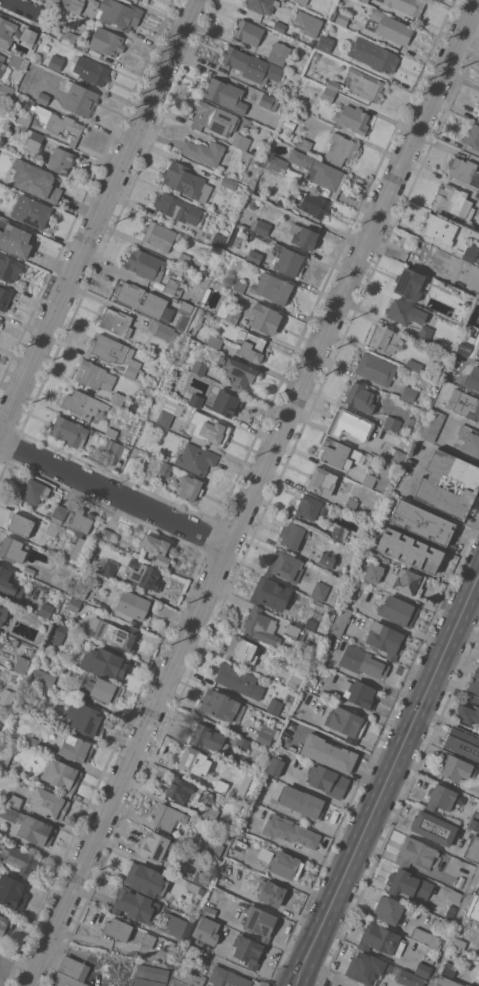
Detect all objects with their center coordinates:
building: (57, 0)
building: (144, 1)
building: (364, 1)
building: (302, 2)
building: (73, 5)
building: (95, 5)
building: (262, 5)
building: (407, 5)
building: (290, 6)
road: (28, 8)
building: (119, 14)
building: (343, 18)
building: (280, 26)
building: (389, 28)
building: (7, 30)
building: (254, 31)
building: (60, 35)
building: (29, 36)
building: (70, 37)
building: (106, 41)
building: (325, 43)
building: (279, 53)
building: (374, 55)
building: (2, 61)
building: (56, 62)
building: (251, 65)
building: (91, 70)
building: (365, 84)
building: (332, 85)
building: (6, 91)
building: (226, 94)
building: (328, 95)
building: (43, 98)
building: (79, 98)
building: (269, 102)
building: (478, 105)
building: (215, 119)
building: (352, 119)
building: (24, 121)
building: (57, 122)
building: (68, 136)
building: (472, 136)
building: (36, 140)
building: (240, 141)
building: (304, 144)
building: (341, 149)
building: (204, 151)
building: (61, 160)
building: (257, 160)
building: (276, 164)
building: (465, 171)
building: (319, 173)
building: (292, 174)
building: (35, 180)
building: (186, 181)
building: (228, 183)
building: (453, 201)
building: (312, 203)
building: (281, 204)
building: (179, 209)
building: (31, 211)
building: (478, 211)
road: (98, 217)
building: (260, 226)
building: (159, 235)
building: (303, 236)
building: (447, 236)
building: (14, 239)
building: (218, 240)
building: (254, 257)
building: (183, 259)
building: (287, 260)
building: (10, 267)
building: (152, 270)
building: (409, 283)
building: (240, 285)
building: (272, 288)
building: (4, 298)
building: (143, 301)
building: (186, 308)
building: (228, 313)
building: (409, 317)
building: (265, 318)
building: (116, 322)
building: (158, 331)
building: (385, 339)
building: (214, 342)
building: (252, 347)
building: (465, 347)
building: (115, 353)
building: (413, 365)
building: (199, 368)
building: (375, 368)
building: (236, 372)
building: (94, 375)
building: (473, 378)
building: (408, 393)
building: (117, 398)
building: (361, 398)
building: (196, 400)
building: (470, 401)
building: (226, 402)
building: (82, 404)
building: (168, 411)
building: (393, 423)
building: (417, 424)
building: (432, 424)
building: (350, 425)
building: (208, 429)
building: (70, 431)
building: (111, 432)
building: (469, 440)
building: (118, 452)
building: (338, 453)
building: (395, 456)
building: (196, 459)
building: (165, 469)
building: (368, 479)
building: (322, 481)
building: (429, 484)
building: (190, 488)
building: (35, 491)
road: (252, 492)
road: (114, 493)
building: (350, 505)
building: (311, 508)
building: (60, 512)
building: (422, 521)
building: (81, 522)
building: (21, 524)
building: (53, 527)
building: (337, 533)
building: (106, 535)
building: (293, 536)
building: (406, 546)
building: (13, 549)
building: (157, 549)
building: (373, 554)
building: (327, 559)
building: (384, 559)
building: (286, 566)
building: (109, 568)
building: (28, 570)
building: (374, 572)
building: (144, 574)
building: (409, 582)
building: (9, 584)
building: (34, 588)
building: (79, 591)
building: (320, 591)
building: (270, 593)
building: (74, 604)
building: (132, 604)
building: (46, 610)
building: (3, 611)
building: (397, 611)
building: (341, 620)
building: (314, 622)
building: (260, 626)
building: (295, 632)
building: (114, 633)
building: (57, 634)
building: (386, 639)
building: (242, 649)
building: (478, 661)
building: (104, 662)
building: (363, 662)
building: (21, 665)
building: (43, 677)
building: (239, 680)
building: (292, 680)
building: (474, 682)
building: (31, 683)
building: (99, 689)
building: (360, 694)
building: (6, 698)
building: (25, 702)
building: (222, 706)
building: (274, 706)
building: (467, 714)
building: (84, 718)
building: (346, 723)
building: (0, 724)
building: (266, 735)
building: (23, 737)
building: (208, 738)
building: (33, 742)
building: (463, 742)
building: (242, 743)
building: (76, 748)
building: (292, 748)
building: (329, 753)
building: (4, 758)
building: (191, 759)
building: (274, 766)
building: (456, 768)
building: (62, 776)
building: (327, 781)
road: (387, 785)
building: (221, 786)
building: (180, 788)
road: (328, 797)
building: (440, 798)
building: (15, 801)
building: (48, 803)
building: (306, 804)
building: (206, 811)
building: (169, 818)
building: (30, 826)
building: (434, 828)
building: (291, 832)
building: (206, 845)
building: (153, 846)
building: (473, 848)
building: (415, 853)
building: (264, 854)
building: (21, 860)
building: (285, 865)
building: (201, 878)
building: (146, 880)
building: (408, 884)
building: (12, 891)
building: (271, 894)
building: (455, 896)
building: (136, 905)
building: (391, 909)
building: (475, 910)
building: (209, 911)
building: (260, 922)
building: (5, 924)
building: (174, 925)
building: (118, 929)
building: (207, 931)
building: (426, 937)
building: (149, 940)
building: (381, 940)
building: (459, 943)
building: (248, 950)
building: (174, 952)
road: (73, 953)
building: (422, 969)
building: (379, 970)
building: (449, 970)
road: (110, 972)
building: (71, 973)
road: (330, 974)
building: (150, 976)
building: (185, 978)
building: (226, 978)
building: (446, 982)
building: (478, 983)
building: (467, 985)

